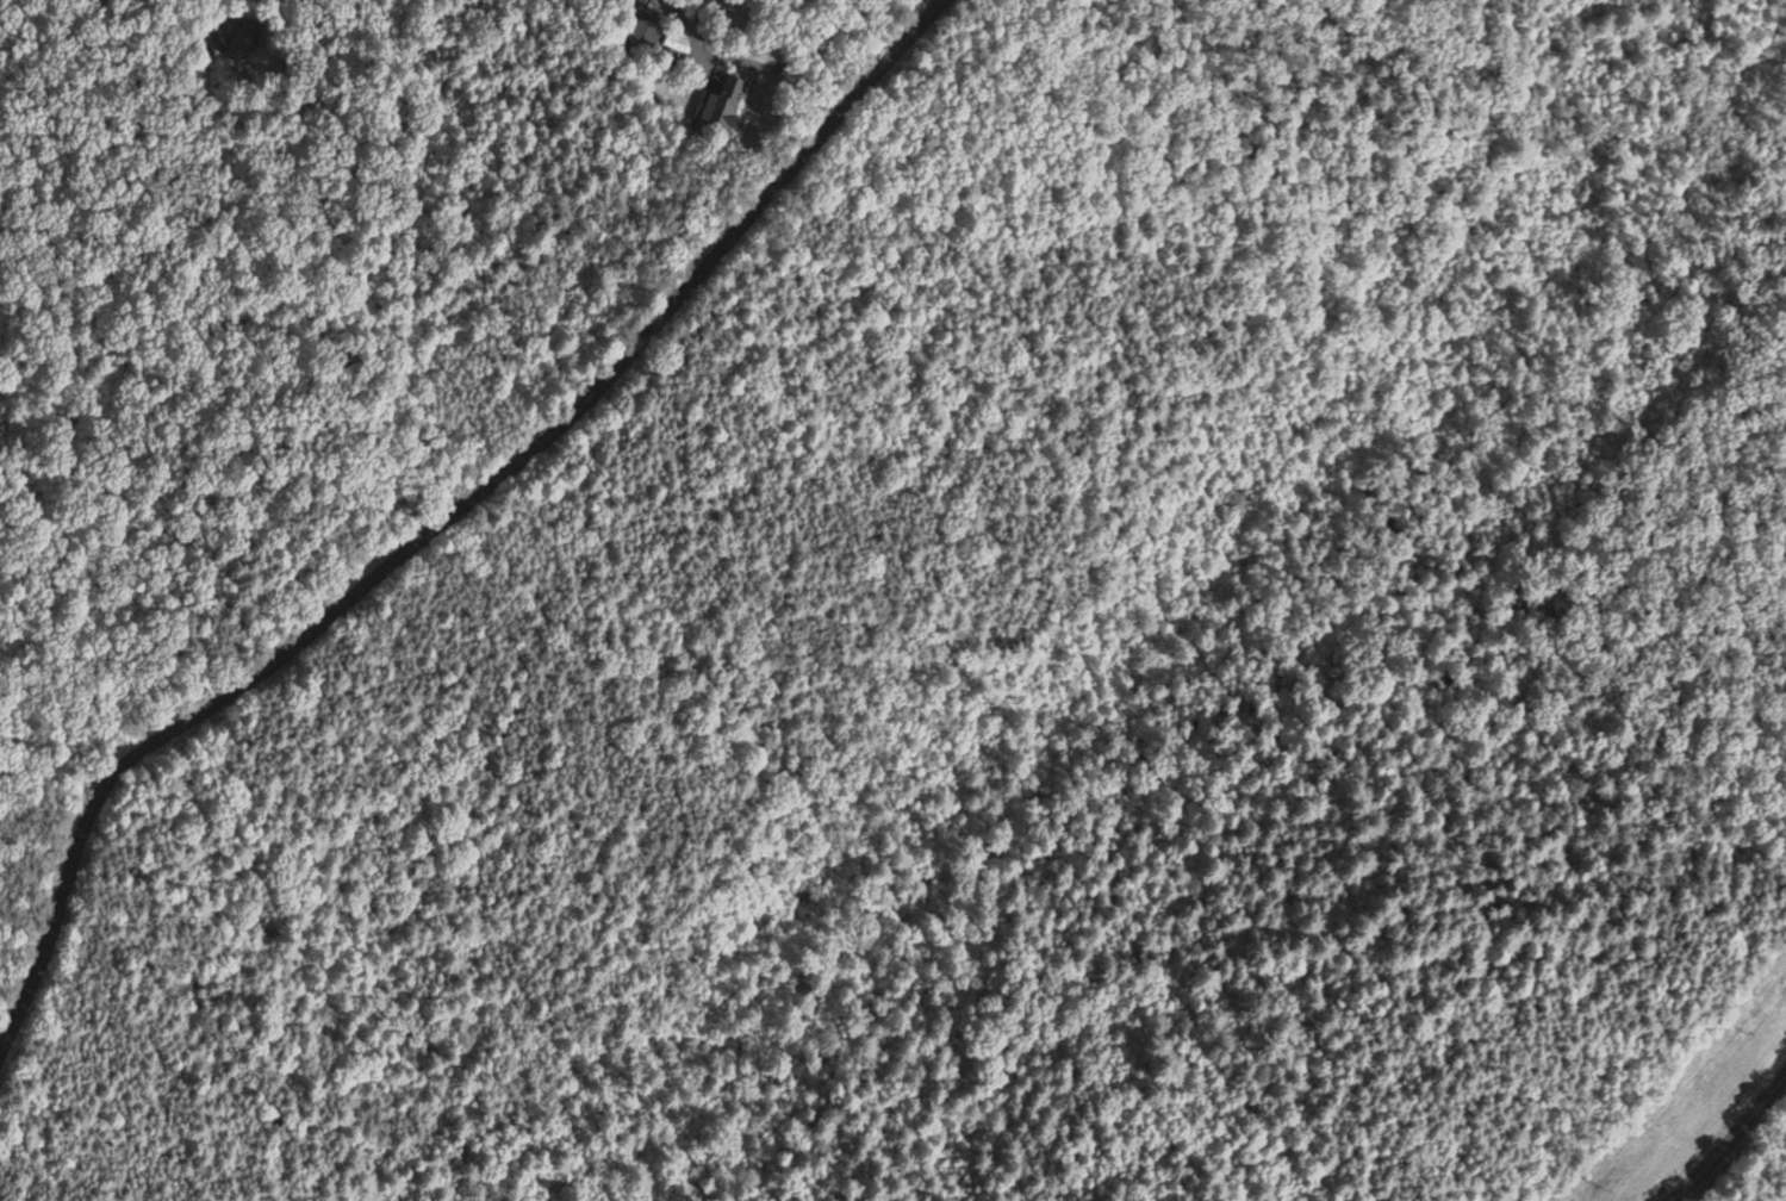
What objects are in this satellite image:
road: (714, 0)
building: (224, 38)
building: (718, 105)
road: (443, 519)
road: (1724, 1134)

